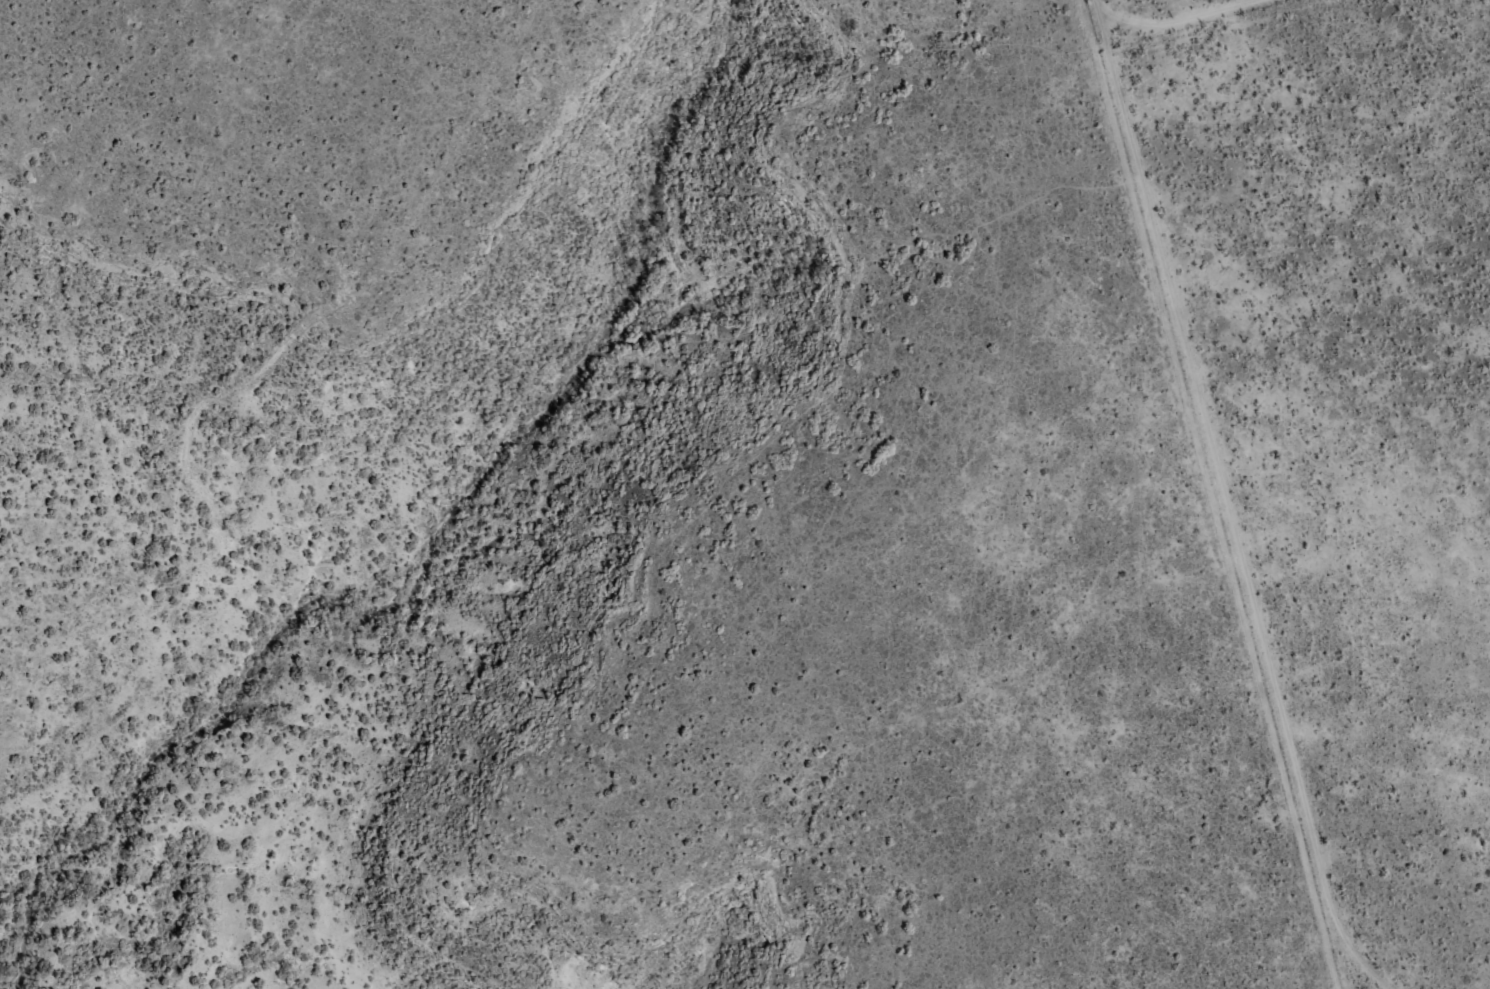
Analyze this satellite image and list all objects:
road: (1235, 35)
road: (1203, 502)

